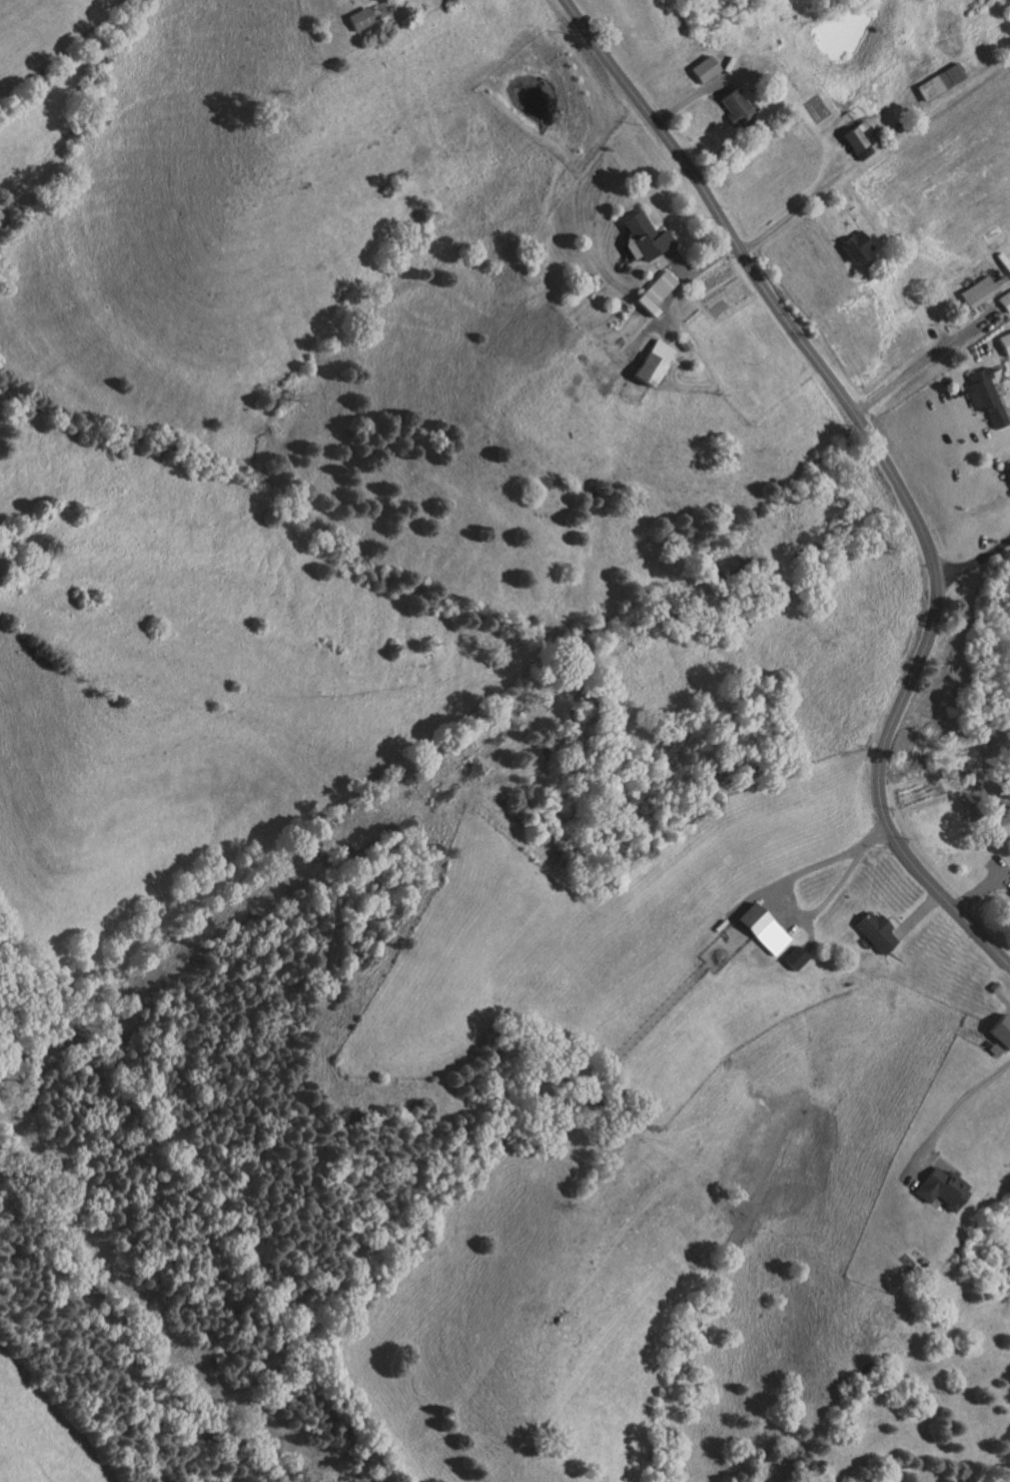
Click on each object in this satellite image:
building: (359, 16)
building: (703, 67)
building: (938, 80)
road: (717, 85)
road: (695, 92)
building: (732, 105)
building: (899, 124)
building: (893, 130)
building: (879, 132)
building: (857, 139)
road: (722, 149)
road: (794, 210)
building: (643, 235)
building: (853, 244)
road: (678, 262)
building: (873, 264)
building: (1007, 268)
road: (682, 284)
building: (980, 289)
building: (653, 291)
building: (1004, 299)
road: (645, 331)
building: (1005, 342)
road: (928, 358)
building: (650, 361)
building: (983, 396)
road: (1006, 414)
road: (1005, 460)
road: (889, 466)
building: (1007, 471)
road: (974, 561)
crop: (923, 808)
road: (836, 885)
road: (981, 885)
road: (916, 915)
road: (793, 923)
building: (759, 927)
building: (873, 929)
building: (792, 956)
building: (995, 985)
building: (1001, 1029)
road: (950, 1113)
building: (942, 1187)

